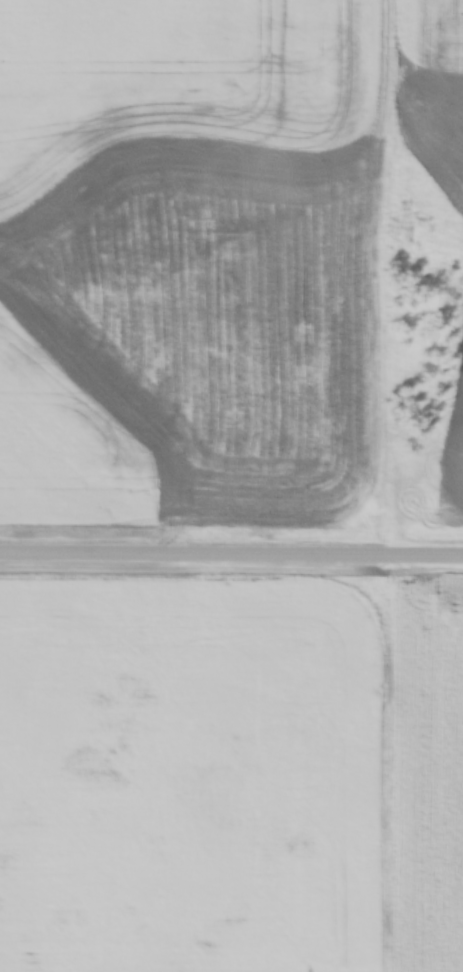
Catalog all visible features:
road: (231, 553)

